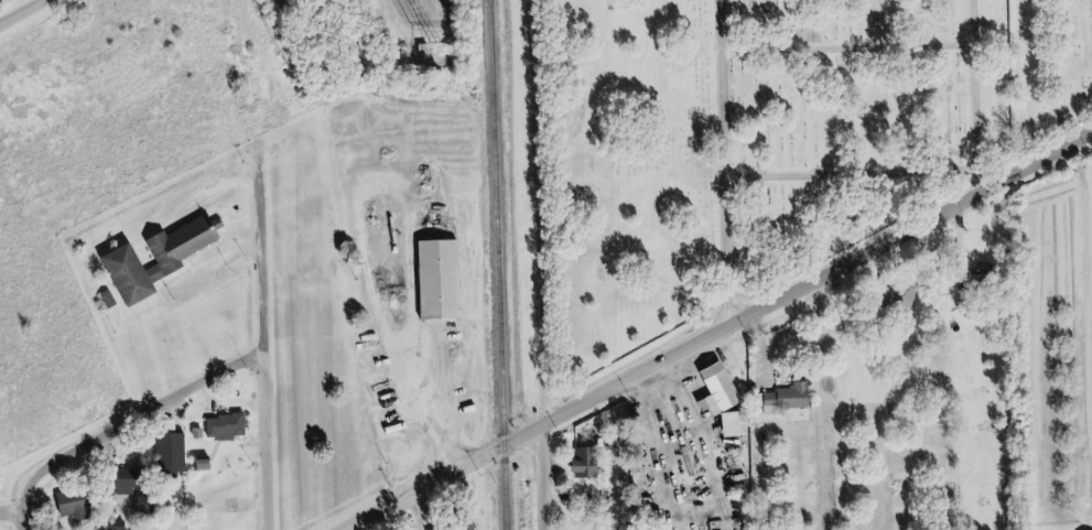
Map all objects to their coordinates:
road: (25, 13)
road: (852, 43)
road: (1072, 145)
park: (766, 148)
road: (724, 163)
road: (937, 165)
road: (191, 208)
road: (544, 209)
building: (163, 259)
railway: (497, 264)
building: (451, 278)
road: (768, 331)
road: (721, 332)
road: (270, 353)
building: (723, 391)
road: (221, 392)
building: (791, 397)
road: (828, 403)
road: (131, 417)
building: (739, 423)
building: (237, 426)
road: (889, 437)
road: (227, 451)
building: (176, 452)
building: (206, 463)
building: (593, 466)
road: (550, 475)
building: (84, 504)
building: (148, 504)
road: (14, 511)
road: (29, 523)
building: (459, 526)

